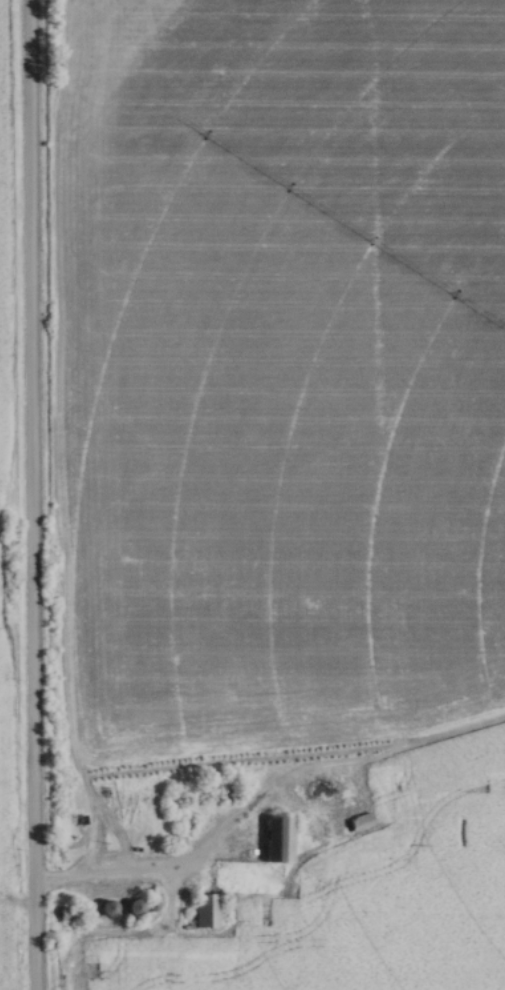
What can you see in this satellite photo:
road: (27, 494)
building: (219, 787)
building: (281, 840)
road: (110, 882)
building: (137, 907)
building: (109, 908)
building: (209, 911)
building: (71, 916)

